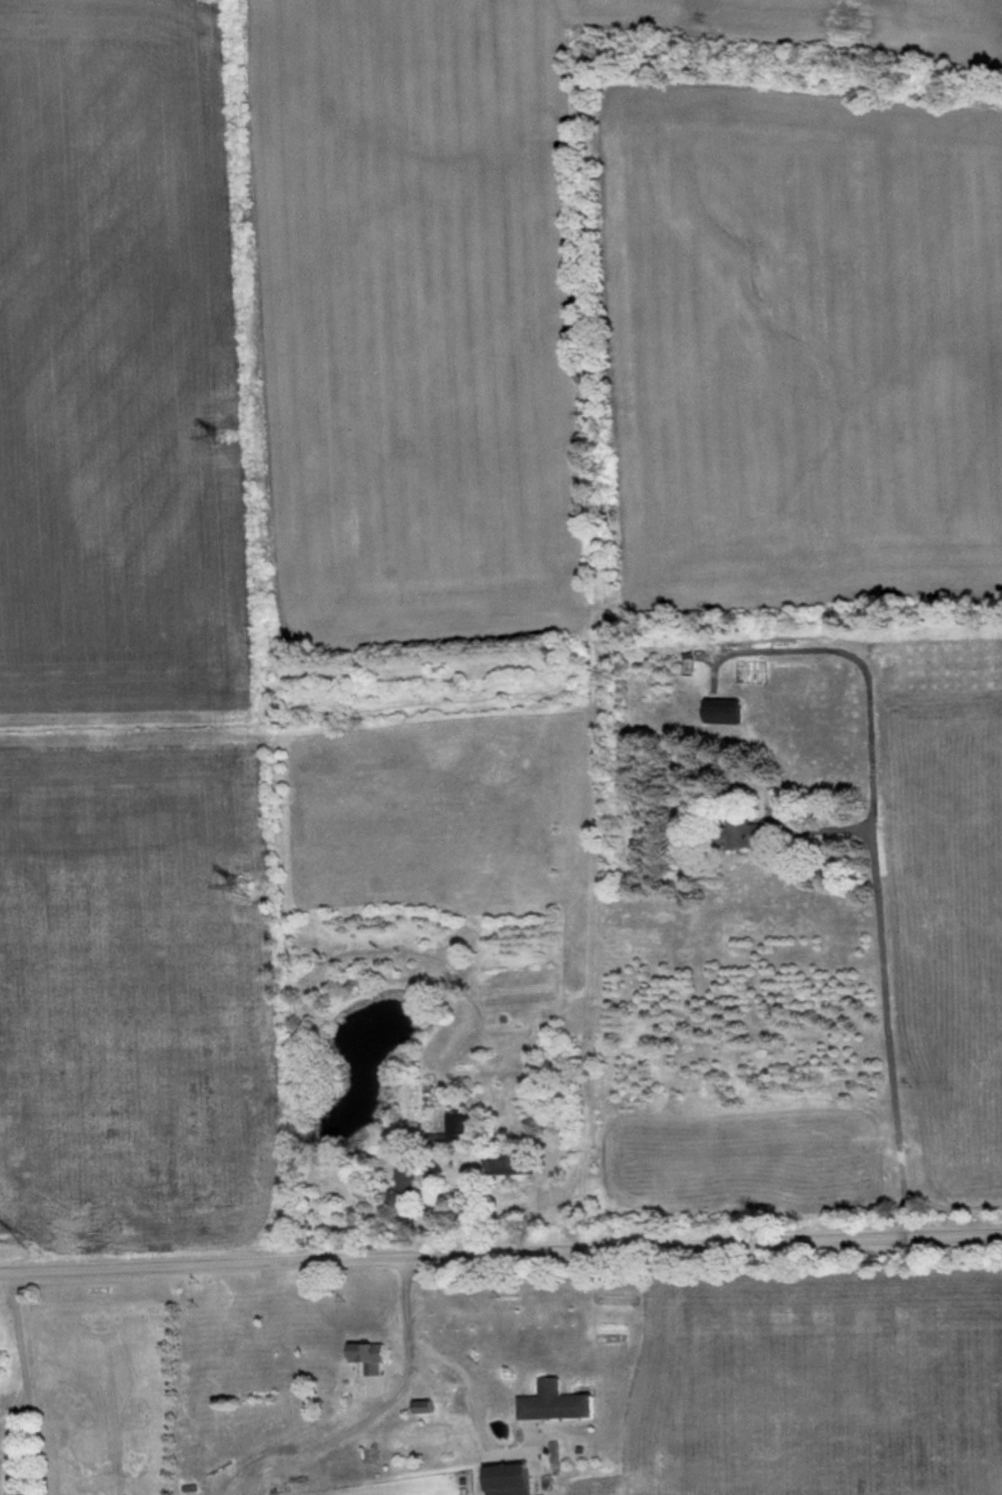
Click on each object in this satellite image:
power tower: (212, 435)
road: (867, 667)
building: (721, 711)
building: (742, 834)
power tower: (241, 885)
road: (887, 985)
building: (460, 1128)
building: (509, 1164)
building: (405, 1195)
road: (461, 1201)
power tower: (25, 1238)
road: (500, 1251)
road: (430, 1348)
building: (370, 1358)
road: (25, 1383)
building: (556, 1405)
building: (419, 1407)
road: (351, 1427)
building: (510, 1481)

